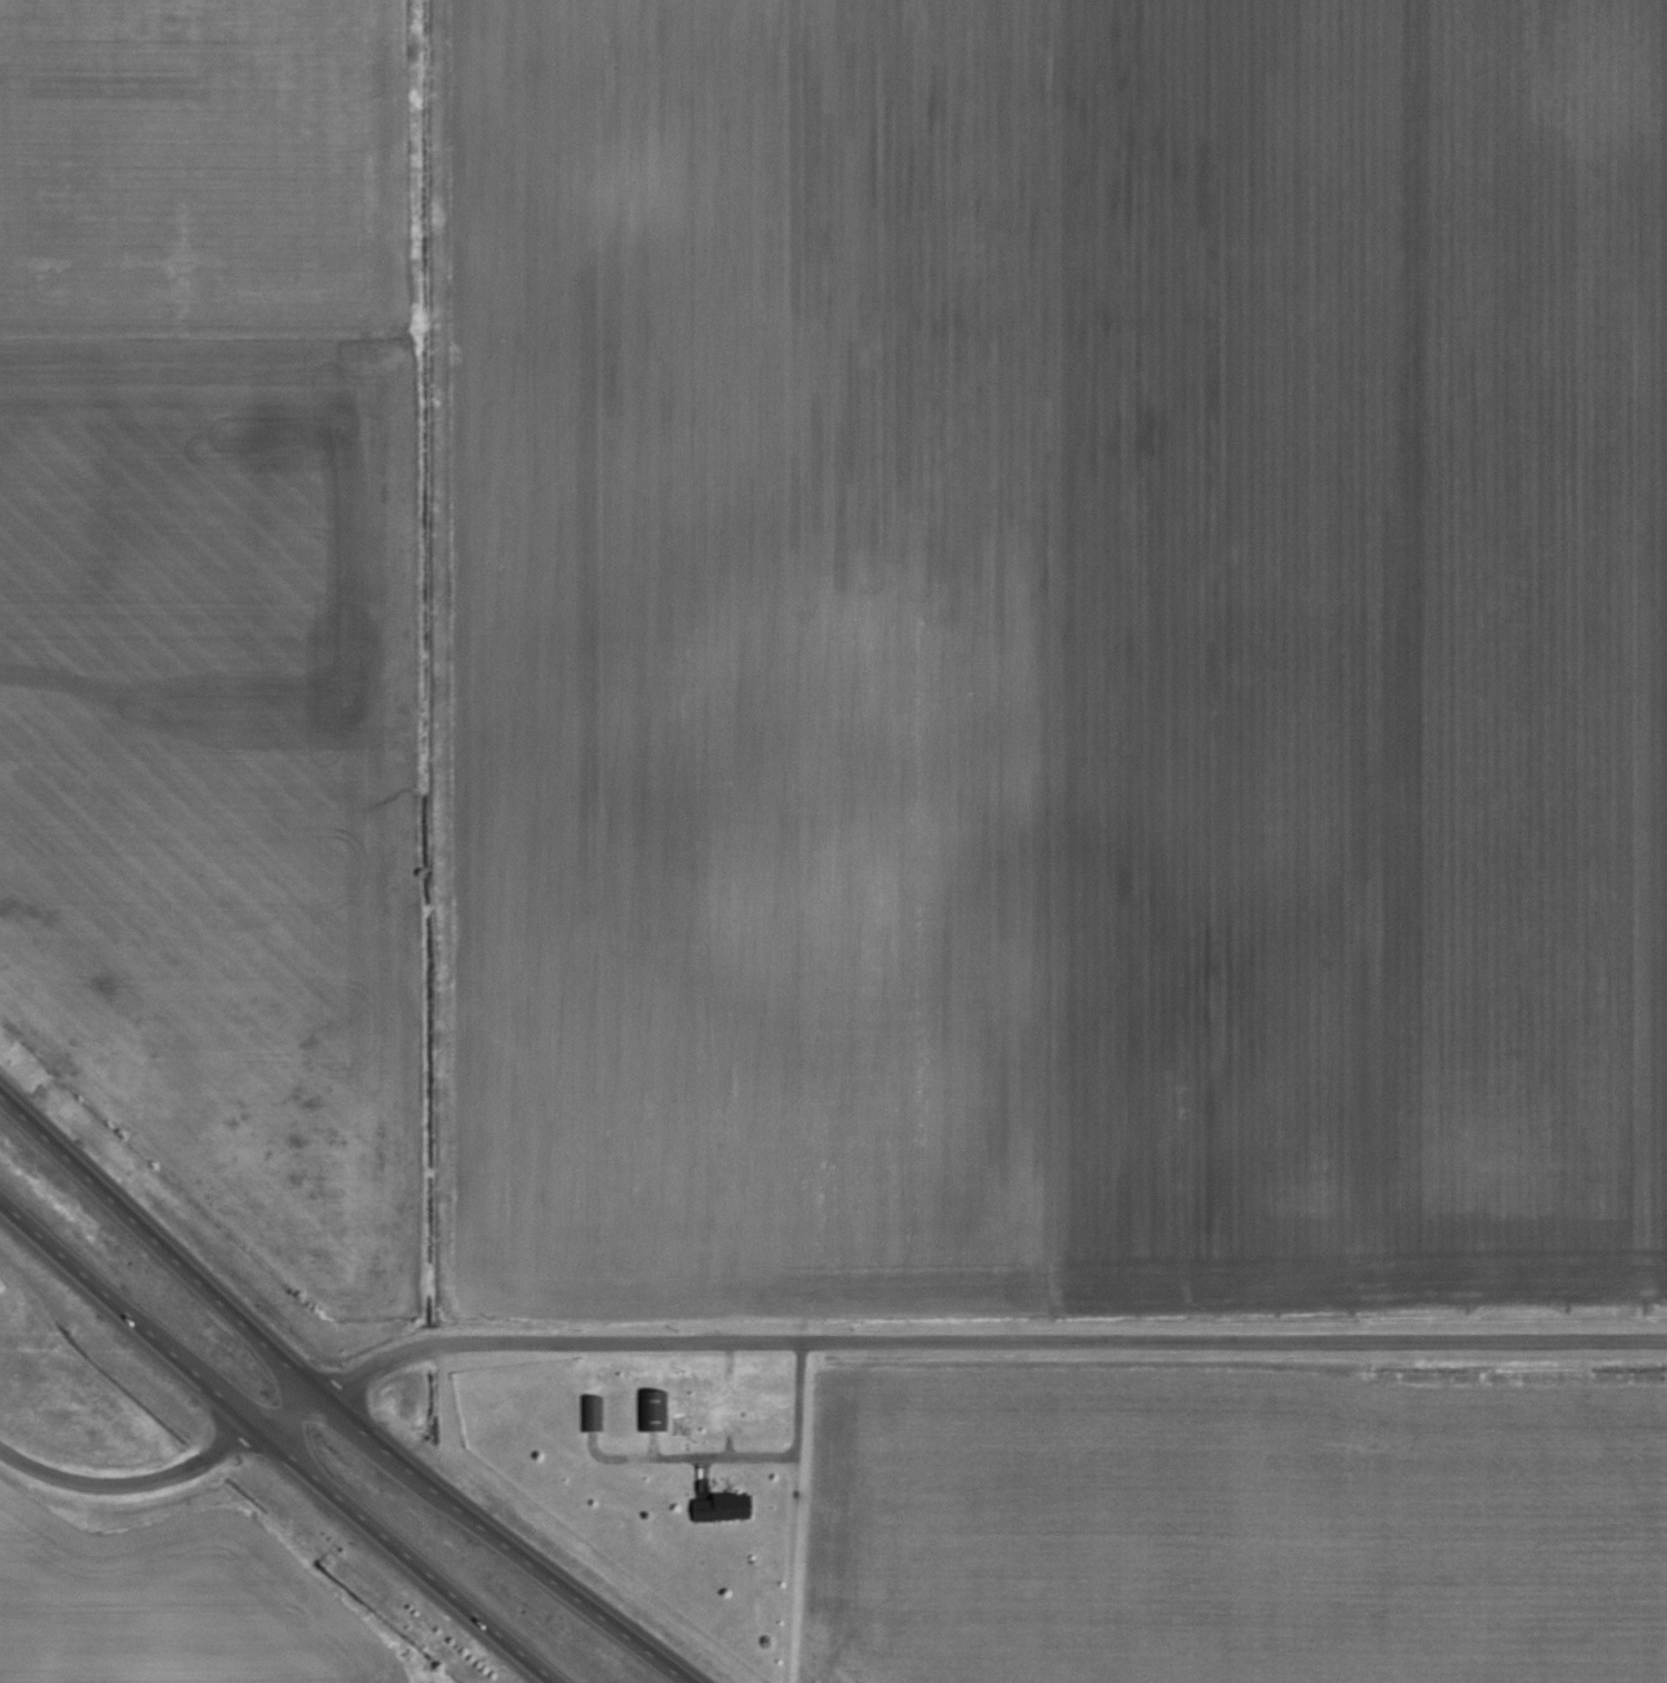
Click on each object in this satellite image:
park: (20, 1061)
road: (813, 1338)
road: (335, 1402)
road: (272, 1446)
road: (684, 1455)
road: (787, 1511)

